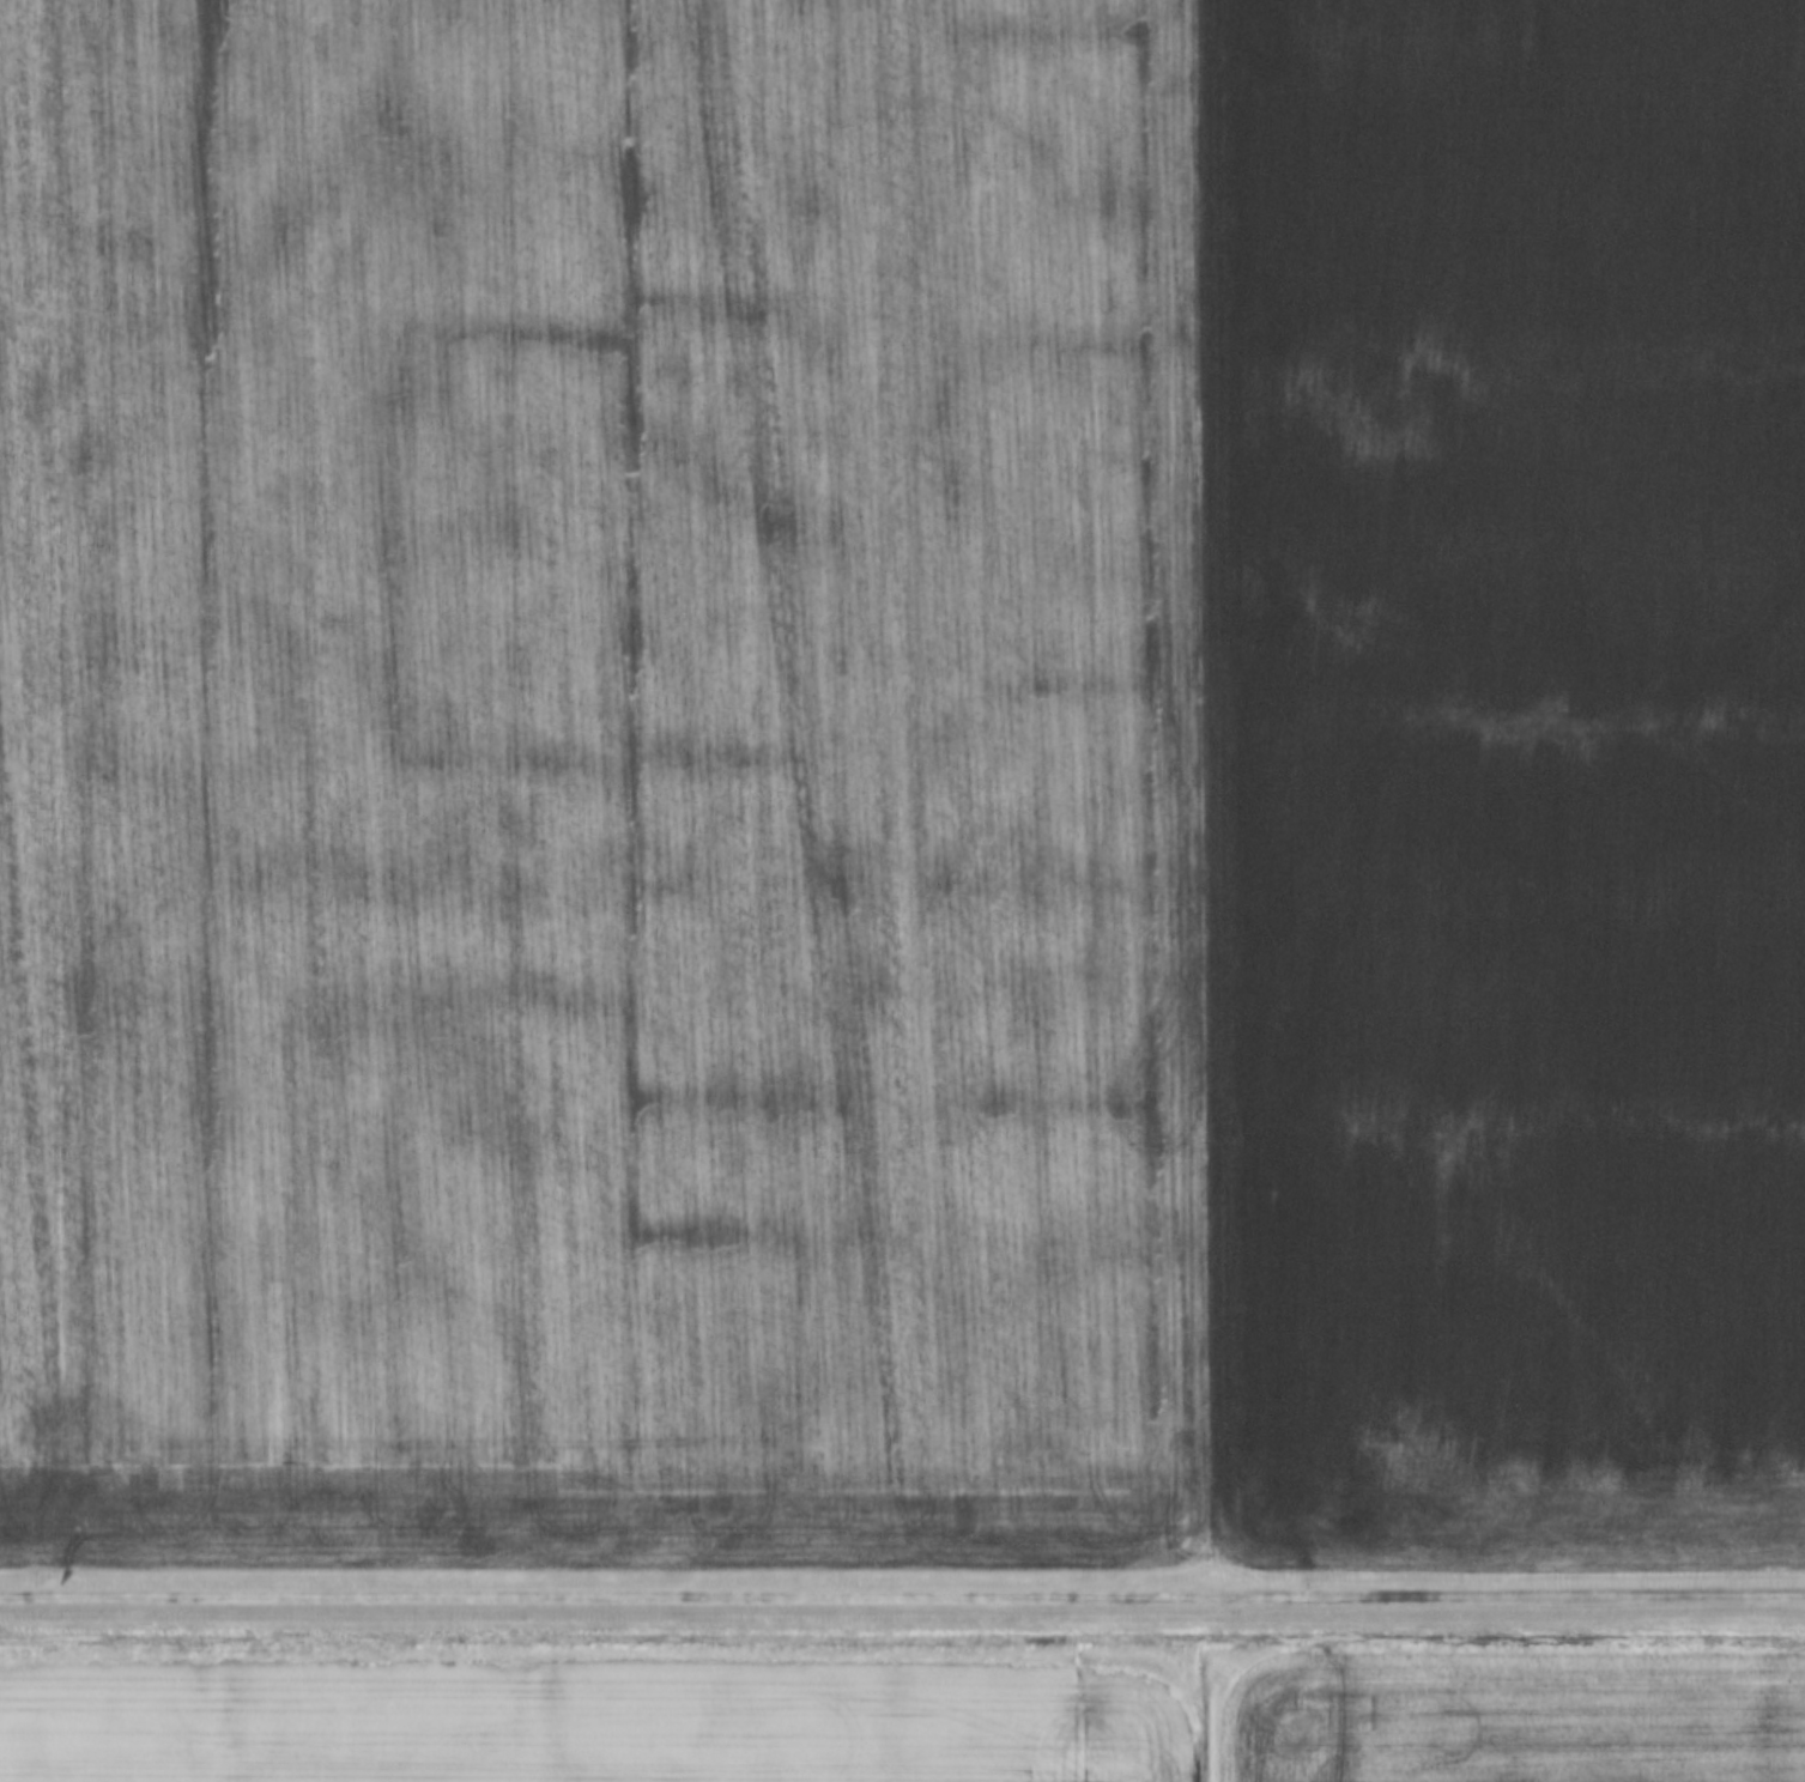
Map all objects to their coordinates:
road: (902, 1599)

